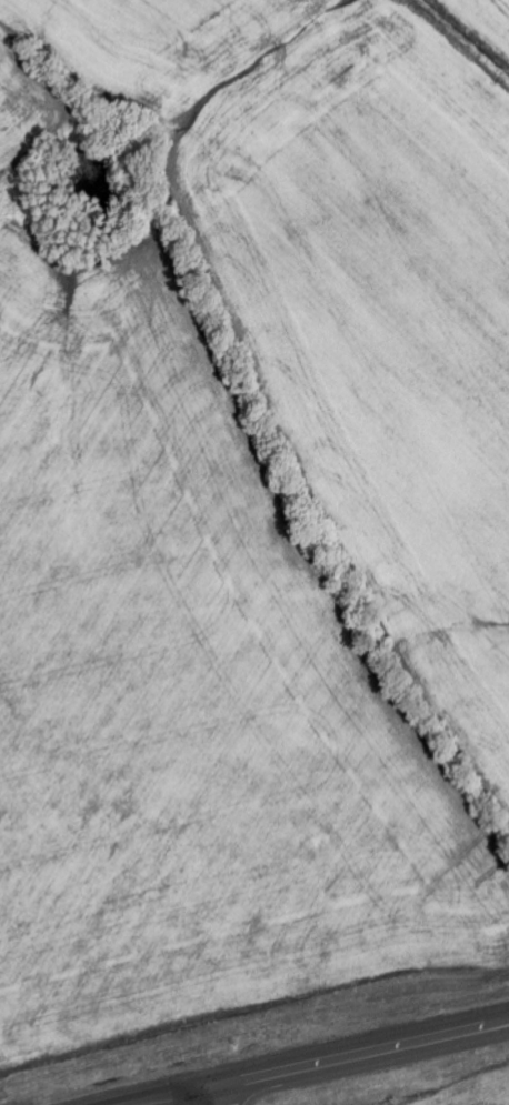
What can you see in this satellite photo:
road: (359, 1054)
road: (171, 1096)
road: (211, 1096)

